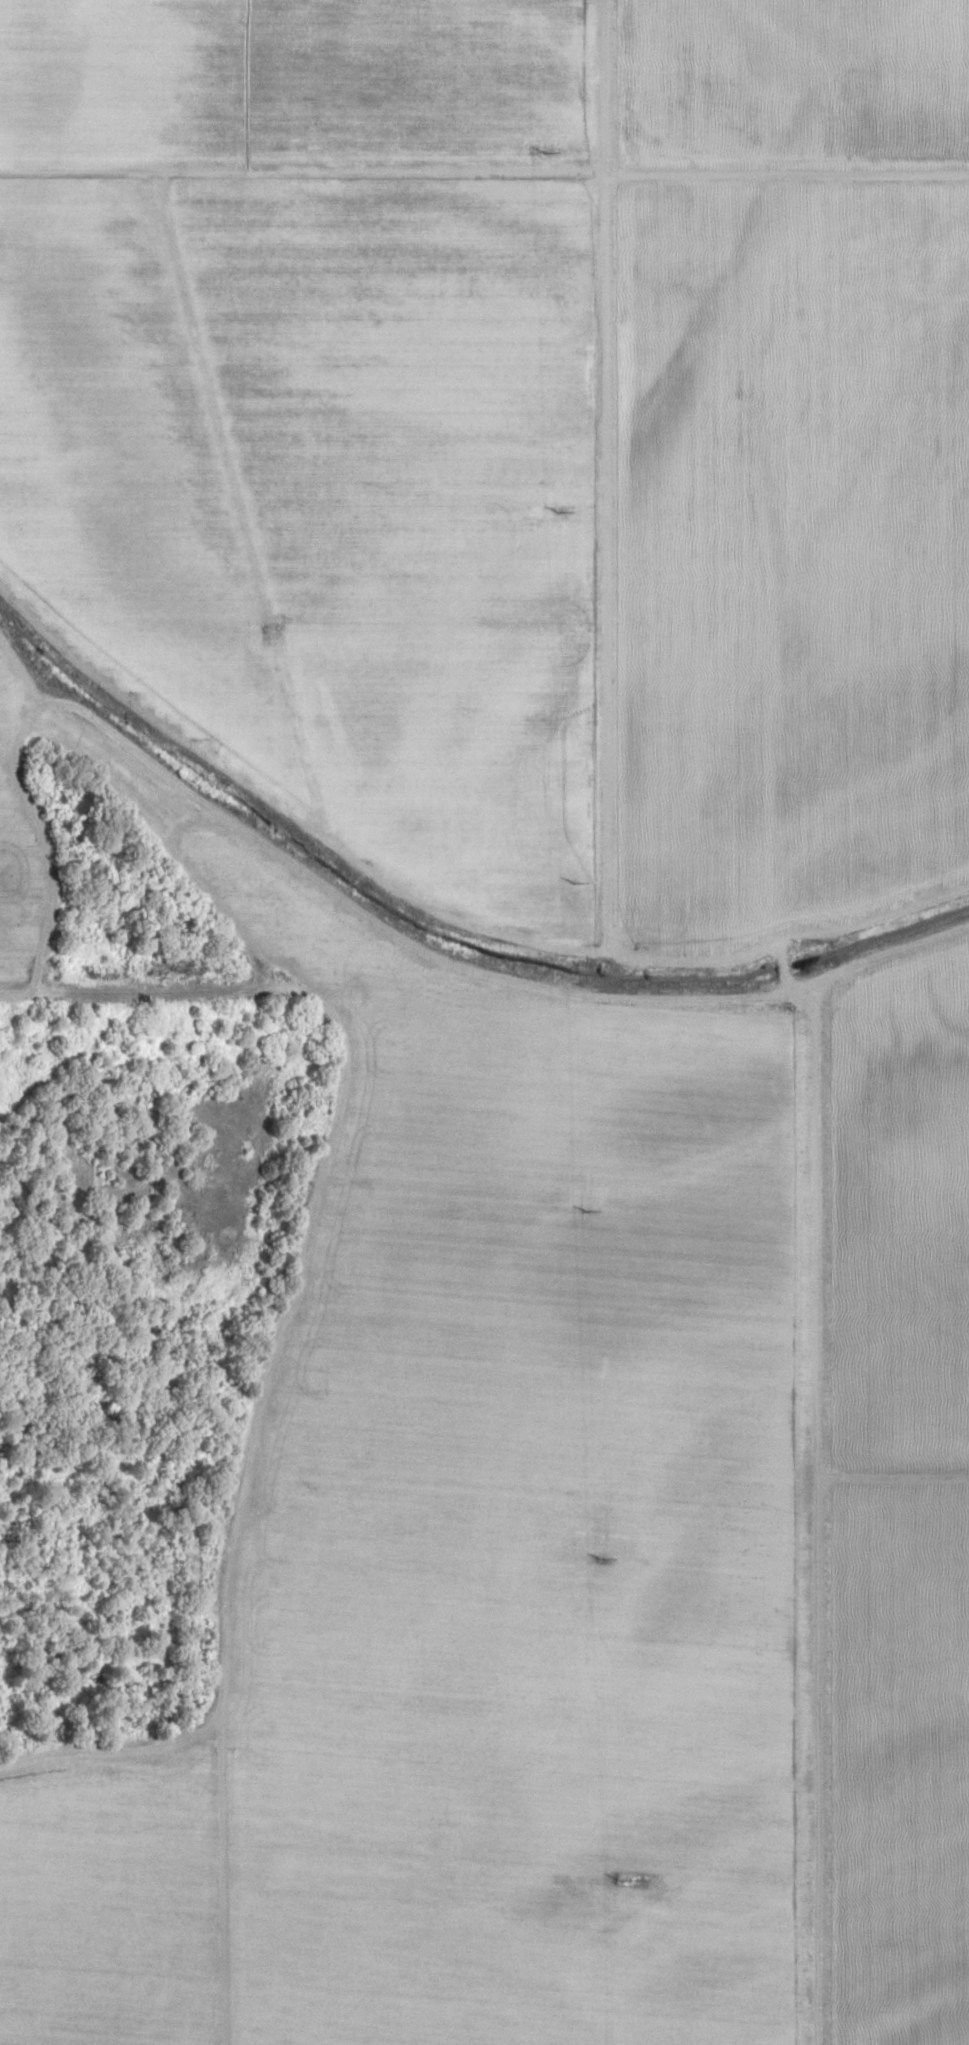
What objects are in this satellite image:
road: (154, 987)

